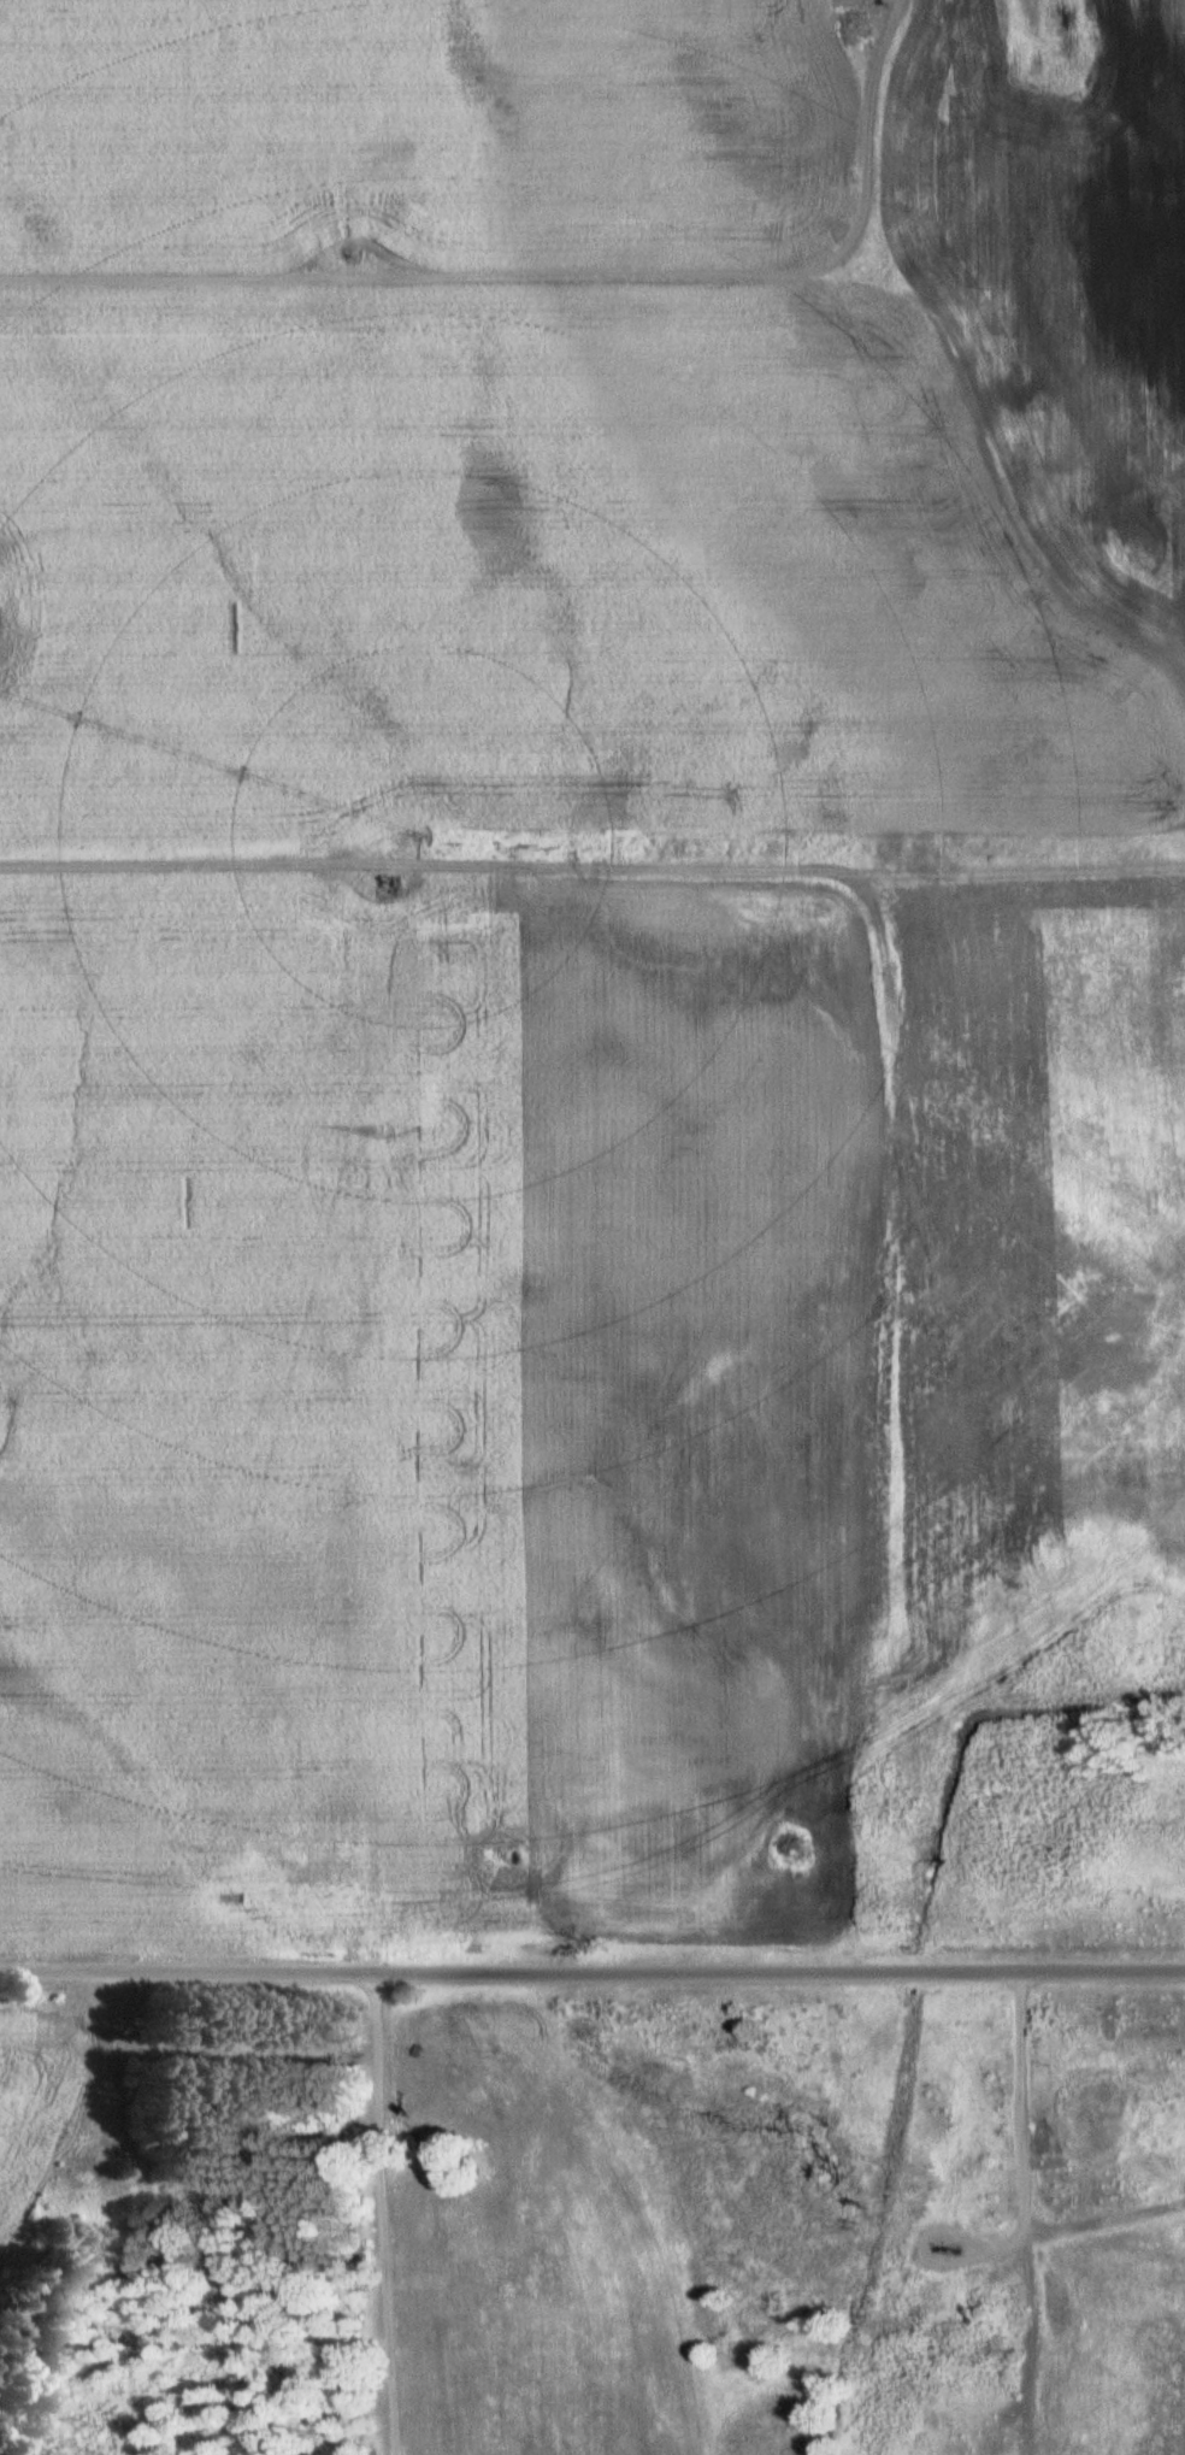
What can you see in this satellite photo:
road: (567, 292)
road: (590, 890)
road: (867, 1034)
road: (779, 1974)
road: (187, 1976)
road: (1020, 2129)
road: (377, 2214)
petroleum well: (948, 2247)

